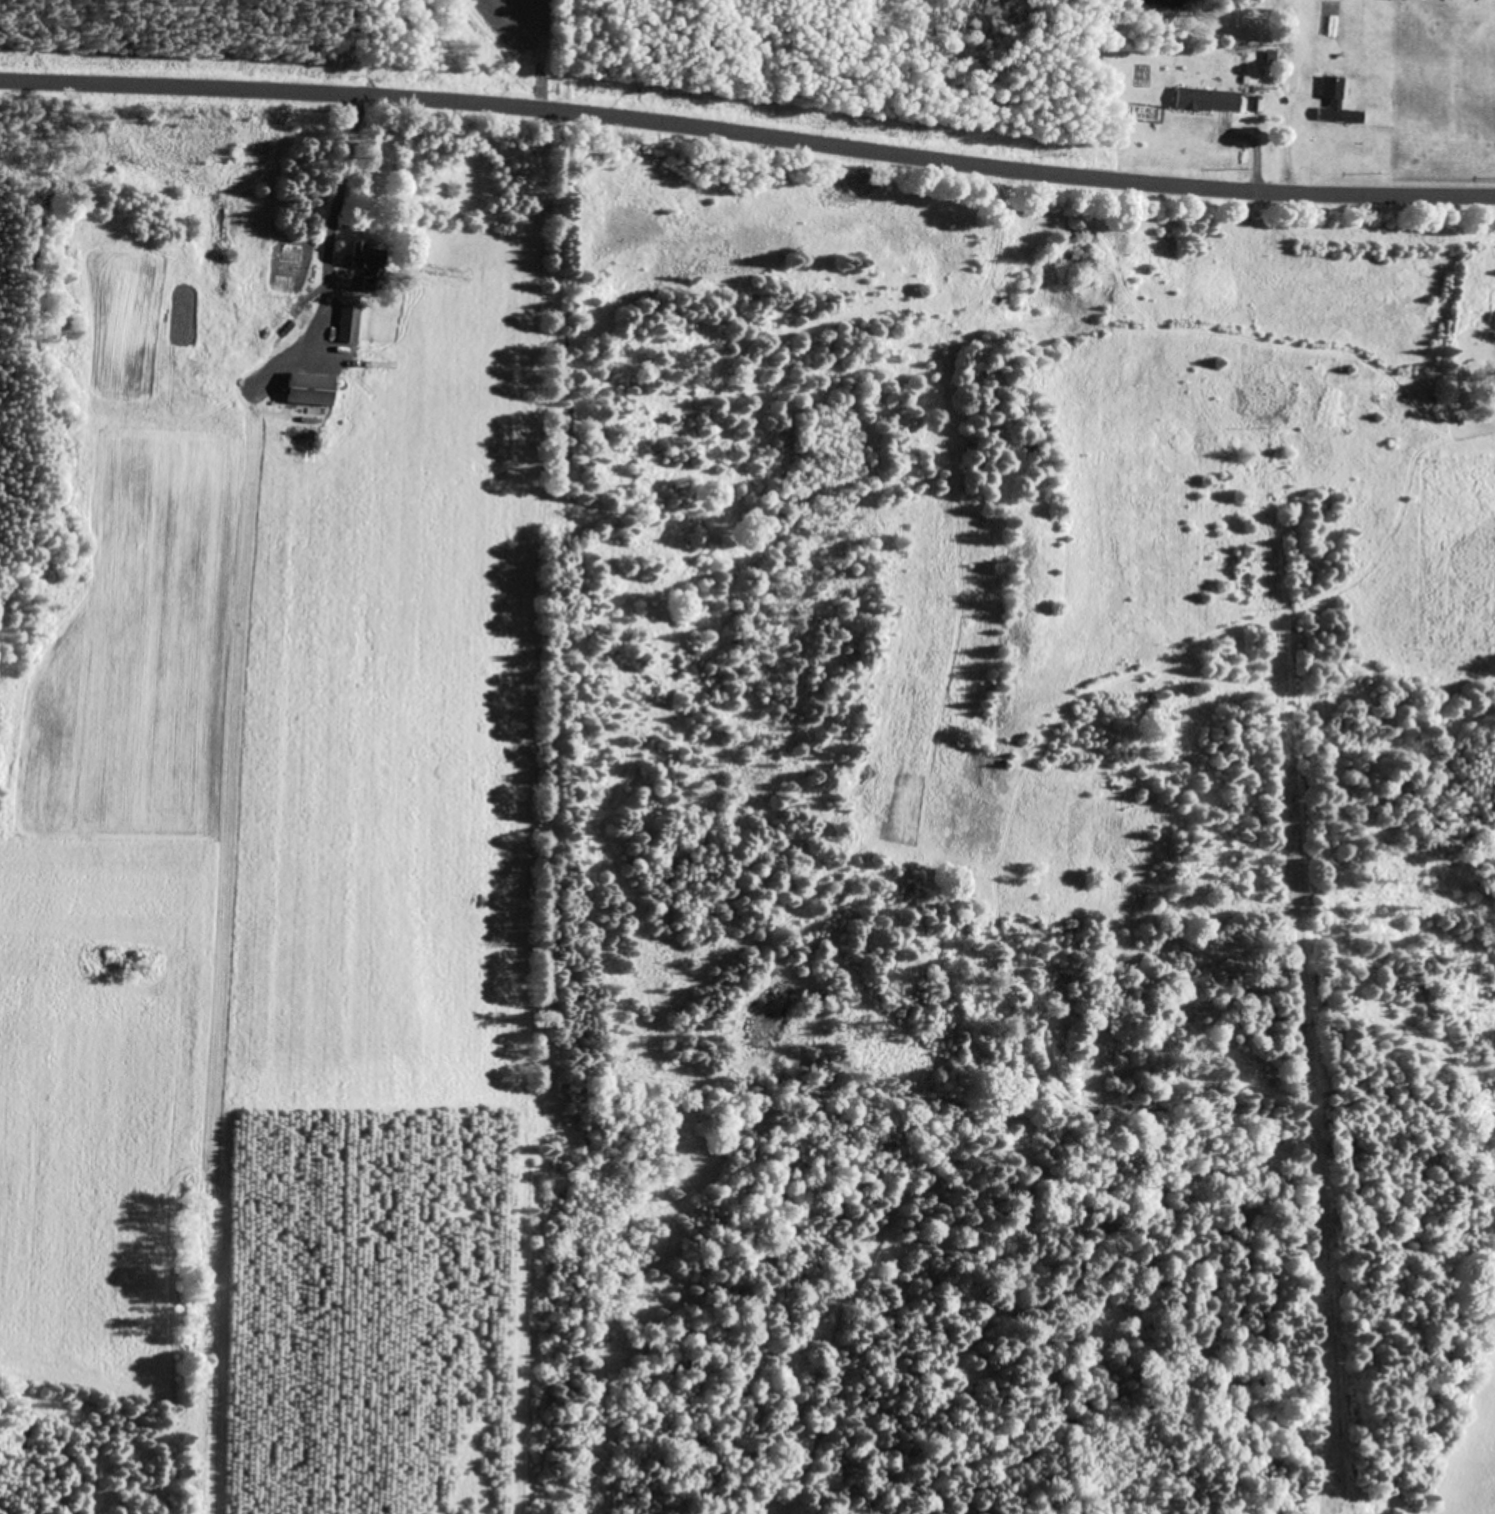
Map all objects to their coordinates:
building: (1207, 99)
building: (1337, 100)
road: (747, 147)
building: (371, 261)
building: (350, 322)
building: (312, 387)

